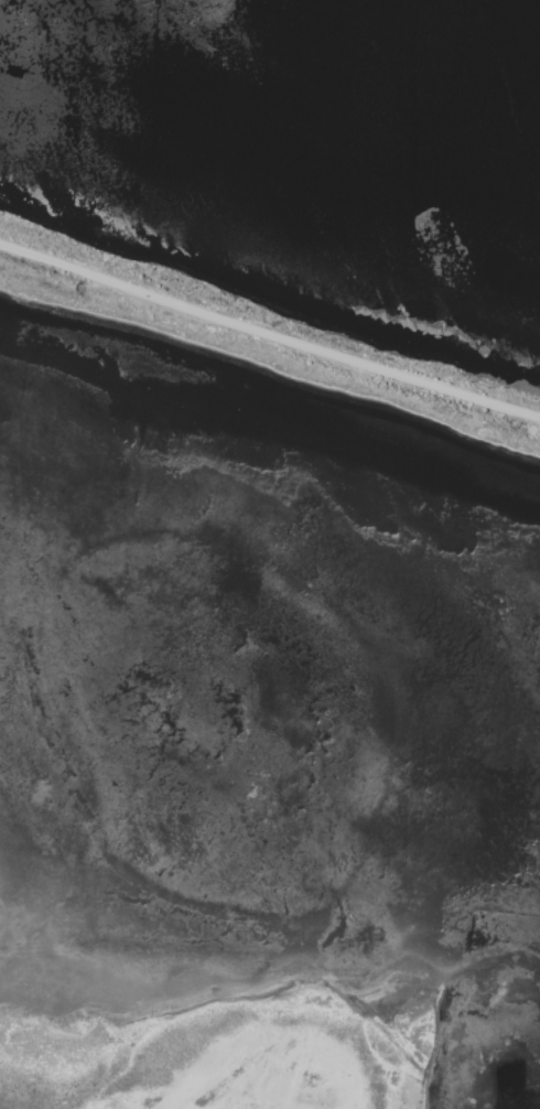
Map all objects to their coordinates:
road: (269, 333)

